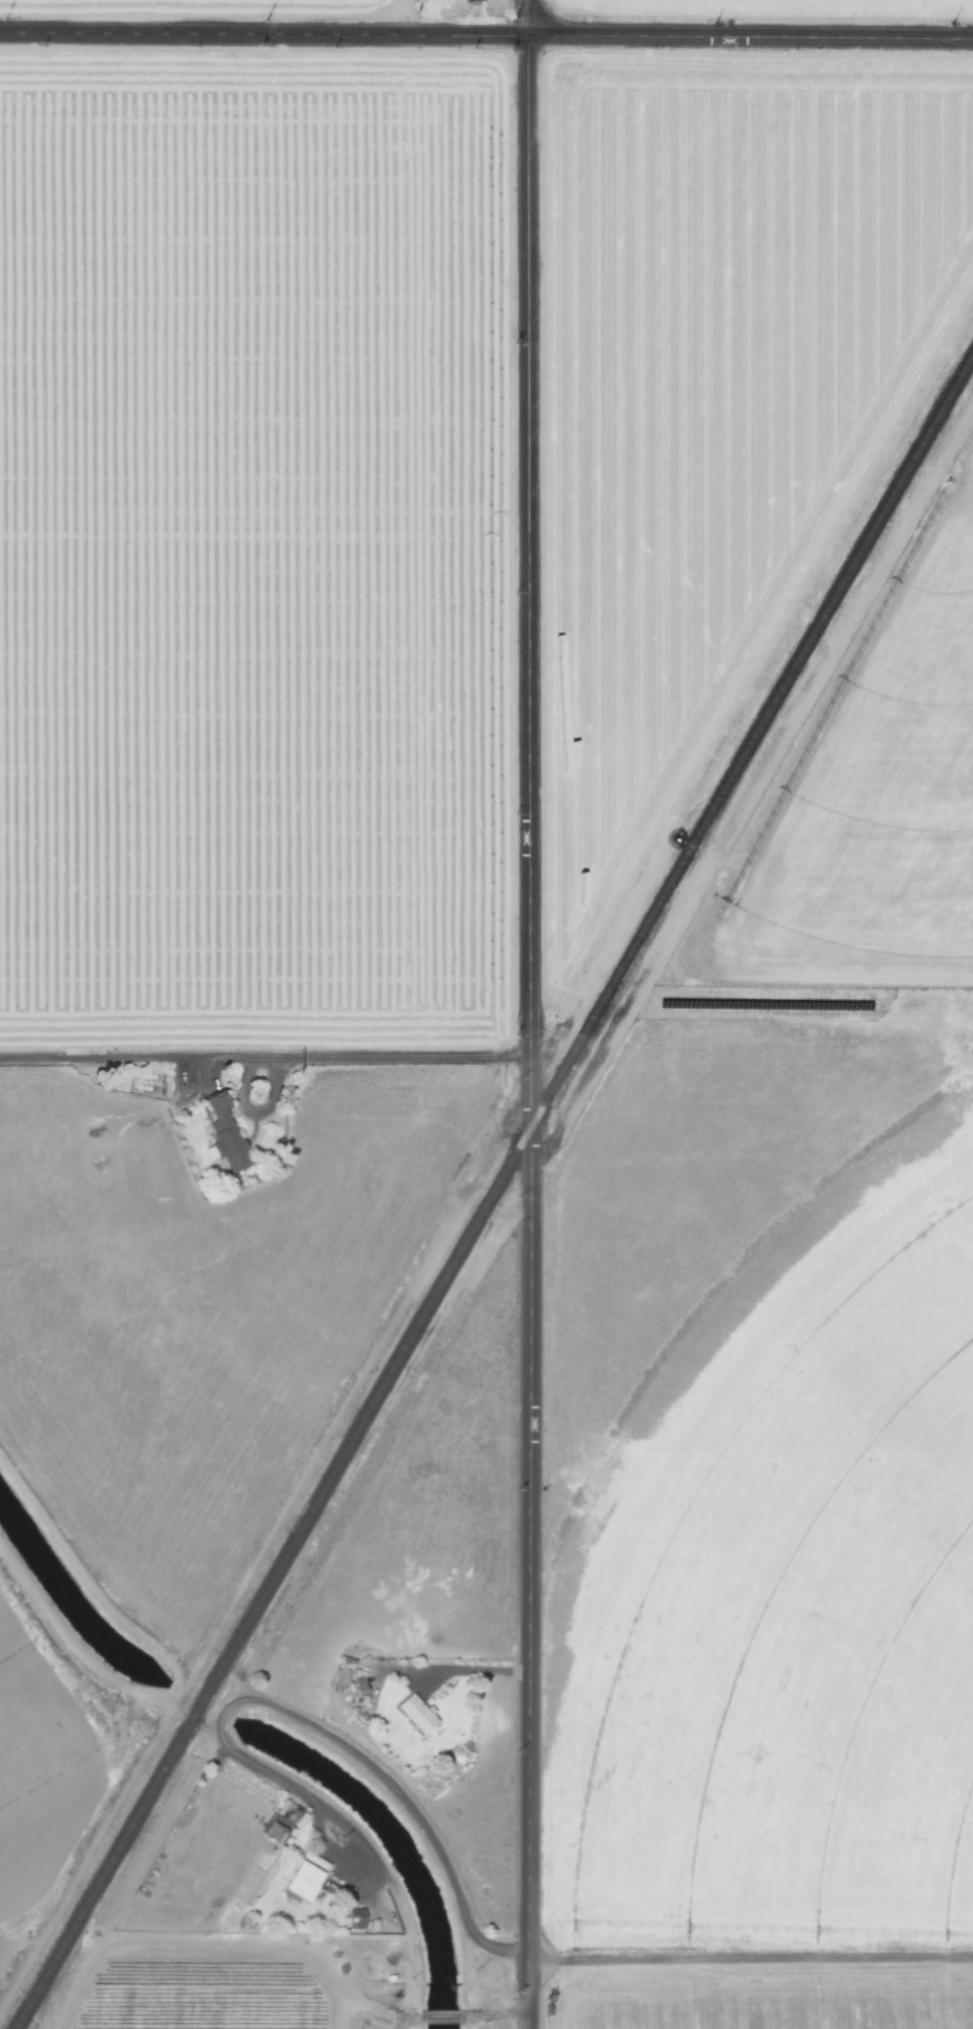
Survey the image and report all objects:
road: (529, 17)
road: (486, 34)
road: (530, 1032)
building: (223, 1133)
railway: (492, 1192)
road: (476, 1671)
crop: (791, 1677)
building: (413, 1711)
road: (315, 1728)
building: (301, 1879)
building: (353, 1917)
road: (750, 1958)
crop: (230, 1984)
road: (374, 2007)
road: (496, 2011)
road: (437, 2015)
road: (468, 2021)
road: (412, 2022)
road: (405, 2023)

